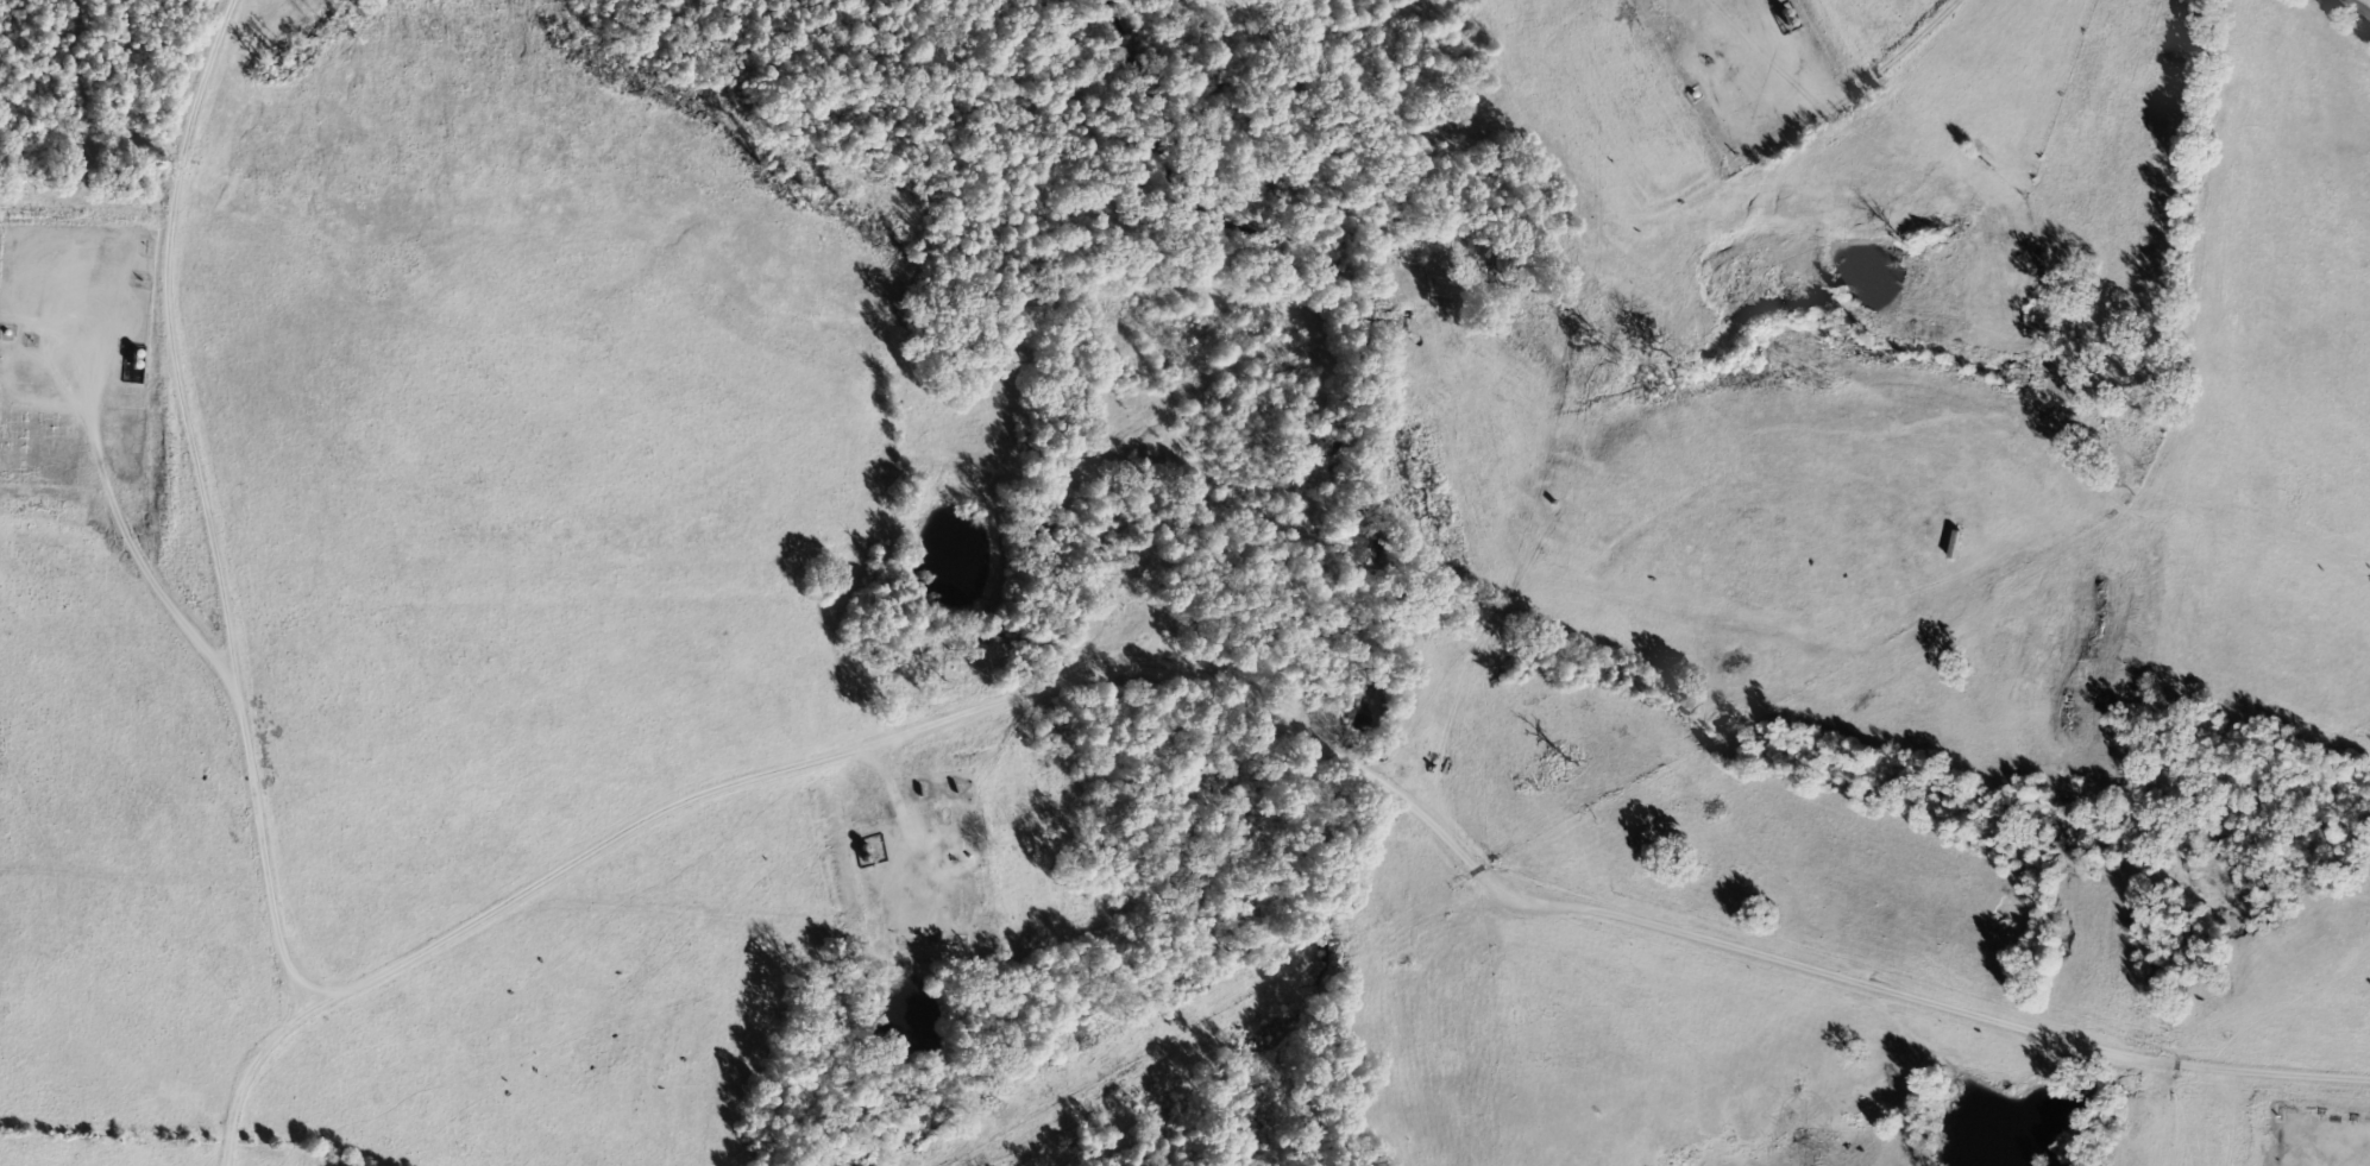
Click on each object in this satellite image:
road: (2357, 8)

